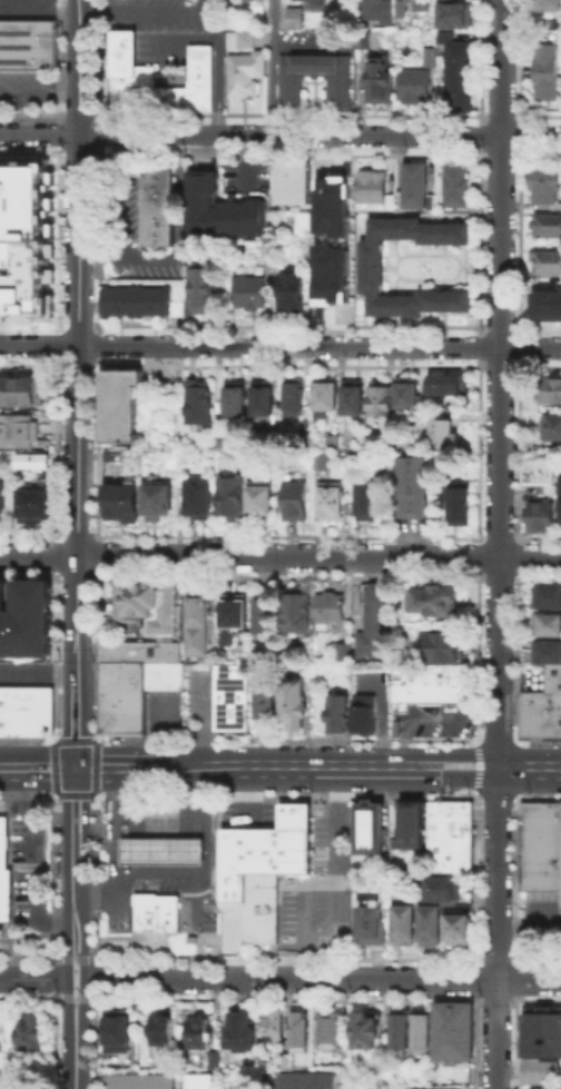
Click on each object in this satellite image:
building: (249, 0)
building: (315, 3)
building: (422, 4)
building: (547, 6)
road: (206, 7)
parking lot: (27, 9)
building: (401, 9)
building: (376, 11)
road: (142, 12)
building: (256, 13)
building: (452, 14)
building: (294, 18)
parking lot: (179, 34)
building: (246, 39)
building: (361, 40)
building: (28, 44)
building: (430, 58)
road: (270, 67)
road: (220, 71)
building: (545, 72)
building: (246, 73)
building: (459, 76)
building: (158, 79)
building: (378, 81)
building: (414, 86)
road: (39, 89)
parking lot: (28, 92)
building: (338, 98)
road: (279, 136)
parking lot: (247, 177)
building: (293, 182)
building: (455, 185)
building: (371, 186)
building: (416, 187)
building: (547, 189)
building: (392, 202)
building: (157, 204)
building: (332, 205)
building: (220, 210)
building: (298, 219)
building: (547, 229)
parking lot: (130, 231)
building: (24, 239)
road: (392, 247)
building: (268, 251)
road: (387, 265)
road: (462, 265)
road: (488, 265)
building: (548, 265)
building: (329, 274)
building: (370, 277)
road: (411, 277)
road: (391, 283)
road: (442, 283)
building: (291, 293)
building: (201, 294)
building: (250, 294)
building: (138, 300)
building: (545, 304)
road: (279, 346)
road: (78, 383)
building: (446, 384)
road: (499, 384)
building: (552, 389)
building: (405, 392)
building: (20, 393)
building: (292, 397)
building: (323, 397)
building: (352, 397)
building: (380, 397)
building: (235, 398)
building: (263, 398)
building: (118, 404)
building: (195, 404)
building: (552, 427)
building: (441, 433)
building: (19, 434)
building: (307, 442)
building: (222, 443)
building: (112, 458)
building: (31, 459)
building: (323, 463)
building: (540, 468)
building: (547, 486)
building: (415, 489)
building: (228, 494)
building: (197, 498)
building: (259, 498)
building: (295, 499)
building: (368, 499)
building: (559, 499)
building: (3, 501)
building: (155, 501)
building: (120, 502)
building: (331, 502)
building: (37, 507)
building: (463, 509)
building: (539, 514)
road: (279, 556)
building: (549, 600)
building: (435, 602)
building: (147, 603)
building: (332, 612)
building: (297, 613)
building: (26, 617)
building: (267, 618)
building: (234, 621)
building: (376, 624)
building: (549, 626)
building: (201, 628)
building: (444, 649)
building: (345, 653)
building: (543, 654)
parking lot: (28, 673)
road: (38, 674)
building: (134, 680)
building: (433, 686)
building: (230, 696)
building: (265, 700)
building: (291, 701)
building: (26, 710)
building: (543, 710)
building: (337, 712)
building: (362, 712)
road: (204, 722)
road: (38, 766)
traffic signals: (76, 768)
road: (117, 768)
road: (360, 769)
road: (120, 799)
road: (161, 816)
road: (76, 822)
building: (410, 824)
building: (367, 826)
building: (449, 835)
building: (542, 845)
building: (161, 850)
building: (263, 851)
parking lot: (28, 859)
road: (31, 860)
road: (114, 860)
road: (204, 863)
building: (6, 875)
building: (442, 887)
building: (259, 907)
road: (76, 908)
building: (156, 911)
gas station: (156, 911)
building: (368, 921)
building: (429, 922)
building: (403, 923)
building: (456, 927)
road: (529, 928)
road: (498, 929)
road: (33, 977)
road: (75, 978)
road: (322, 979)
road: (67, 980)
road: (83, 980)
building: (274, 1027)
building: (365, 1029)
building: (27, 1030)
building: (163, 1030)
building: (398, 1030)
building: (421, 1030)
building: (452, 1030)
building: (118, 1032)
building: (243, 1032)
building: (541, 1032)
building: (301, 1033)
building: (333, 1034)
building: (199, 1036)
road: (73, 1056)
building: (217, 1060)
building: (288, 1062)
building: (539, 1069)
building: (203, 1082)
building: (304, 1082)
building: (141, 1083)
building: (545, 1086)
parking lot: (356, 1088)

